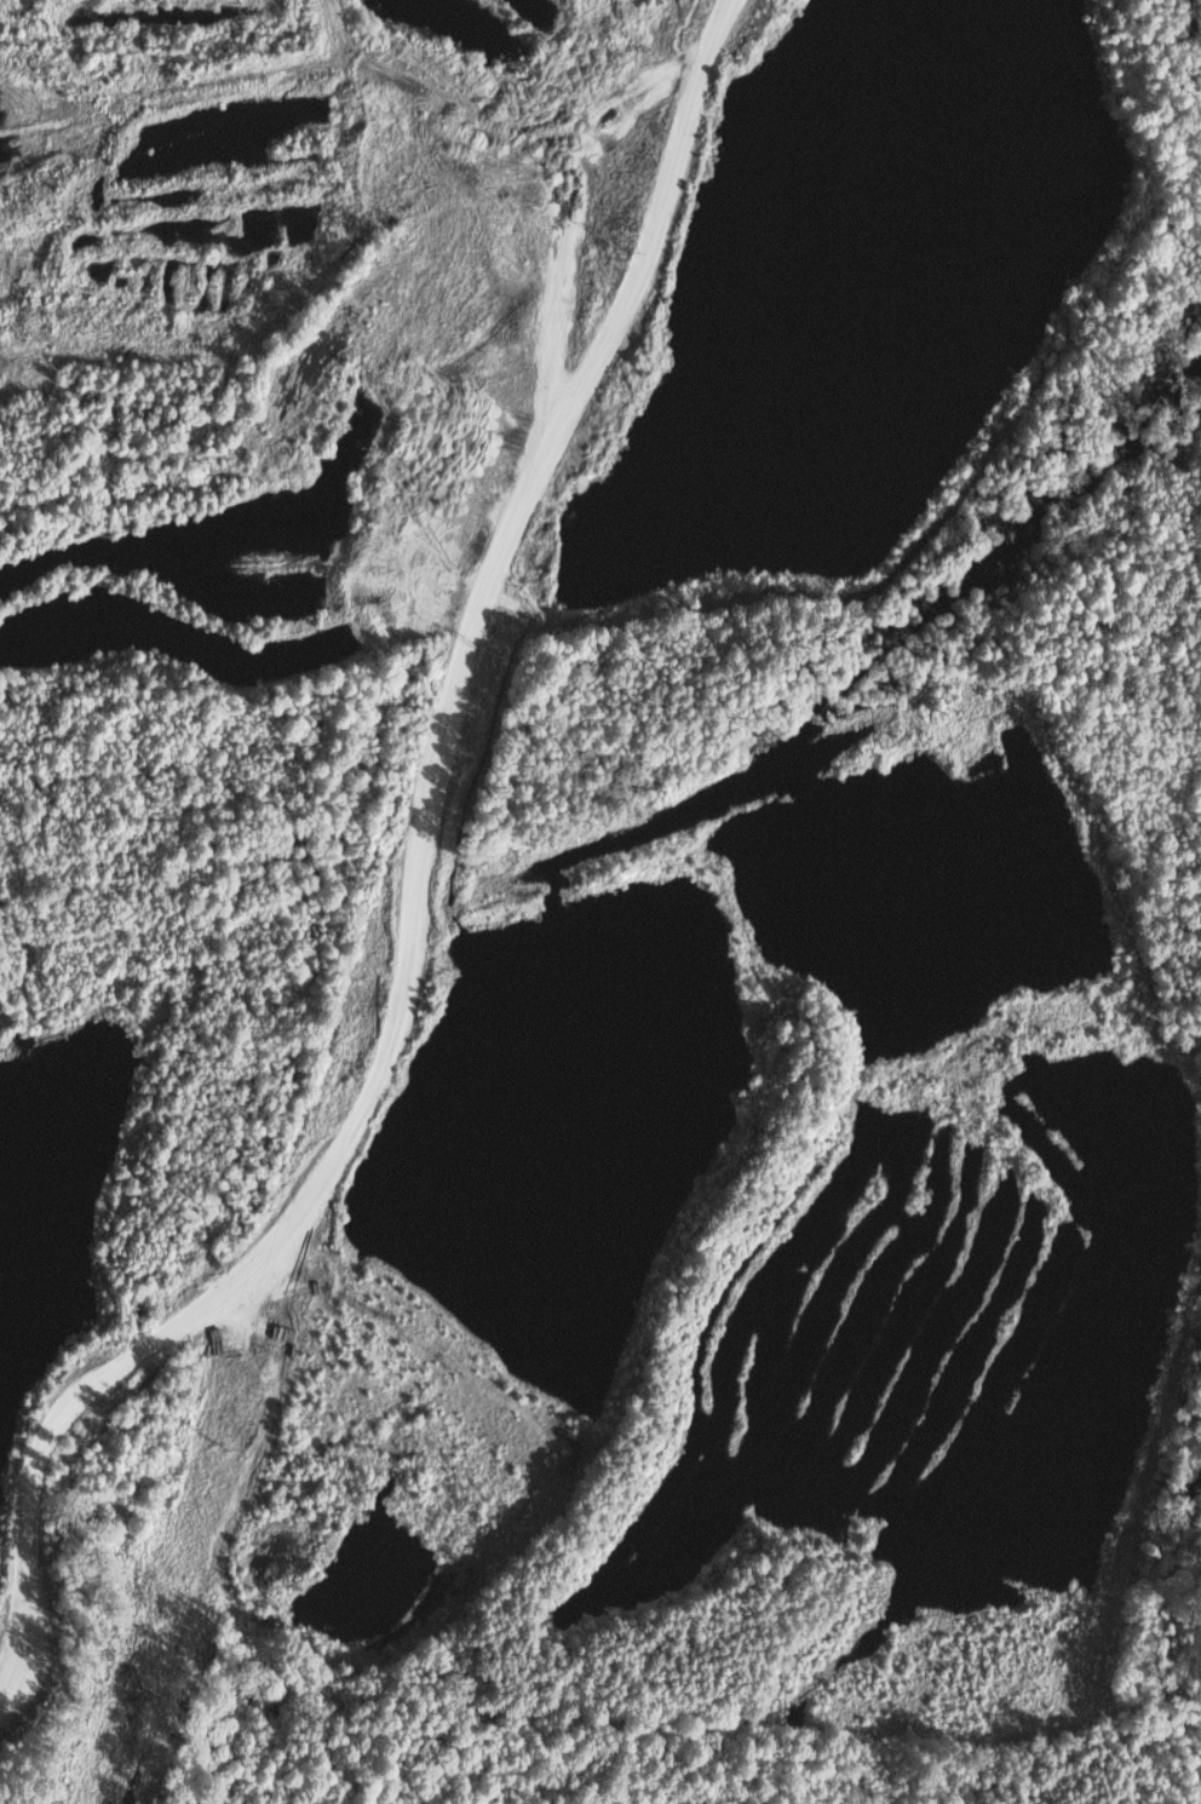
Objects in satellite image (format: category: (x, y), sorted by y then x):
power tower: (622, 249)
power tower: (485, 657)
power tower: (349, 1067)
power tower: (218, 1449)

